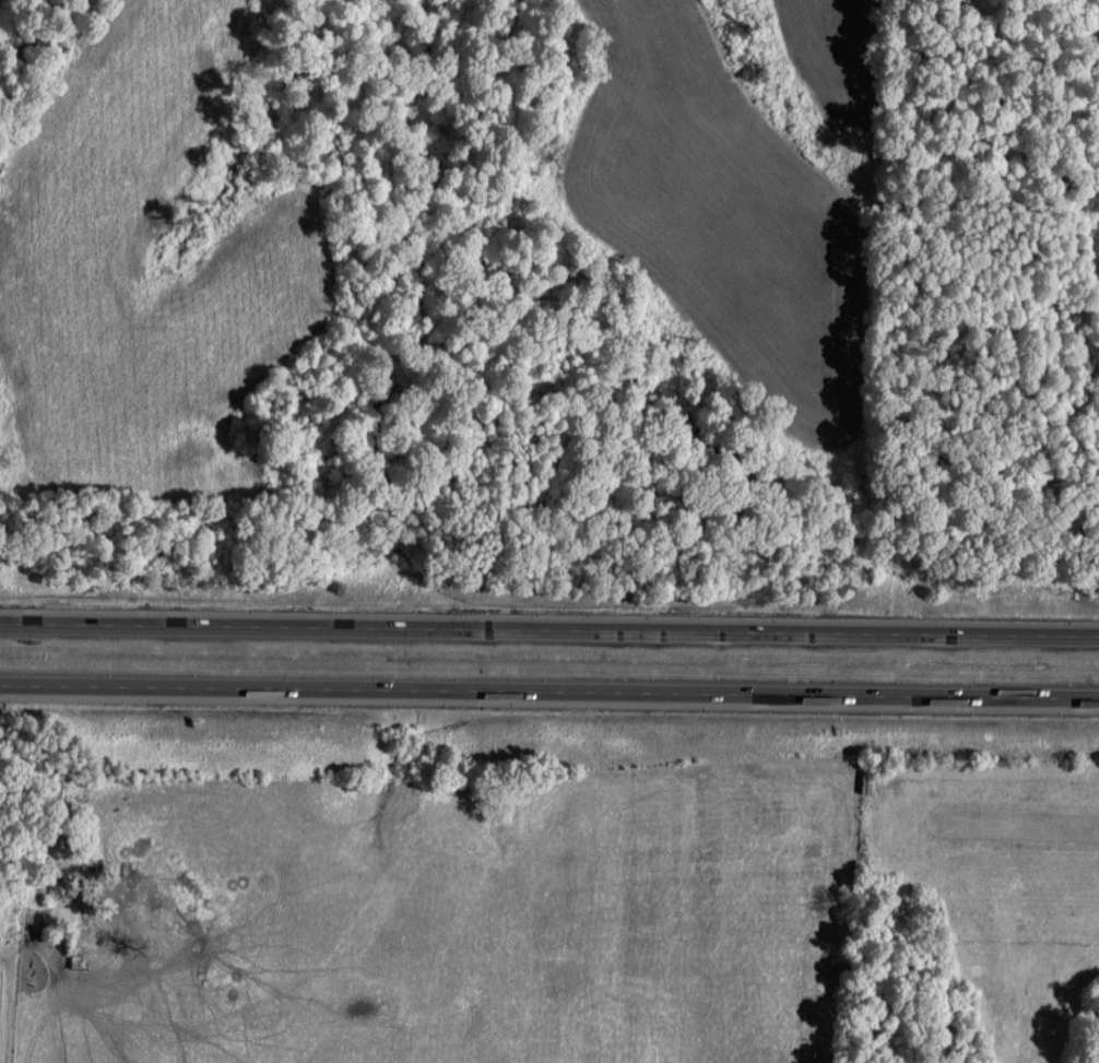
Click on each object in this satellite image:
road: (549, 625)
road: (549, 685)
airport runway: (995, 808)

